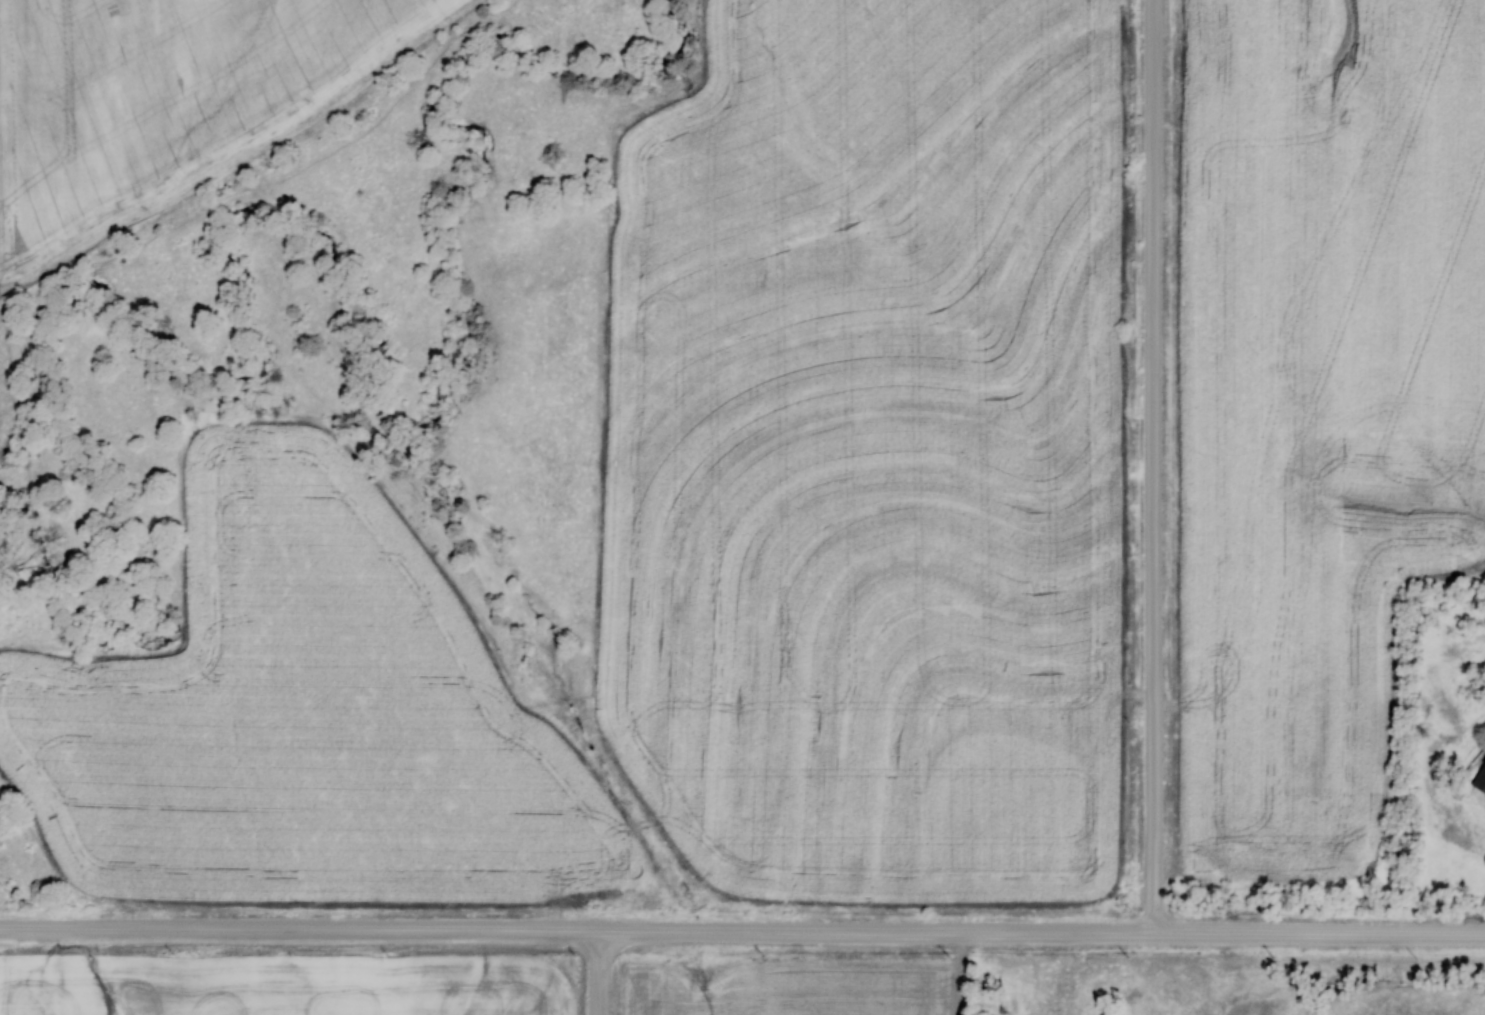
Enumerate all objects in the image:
road: (1155, 467)
building: (1479, 777)
road: (742, 934)
road: (592, 974)

